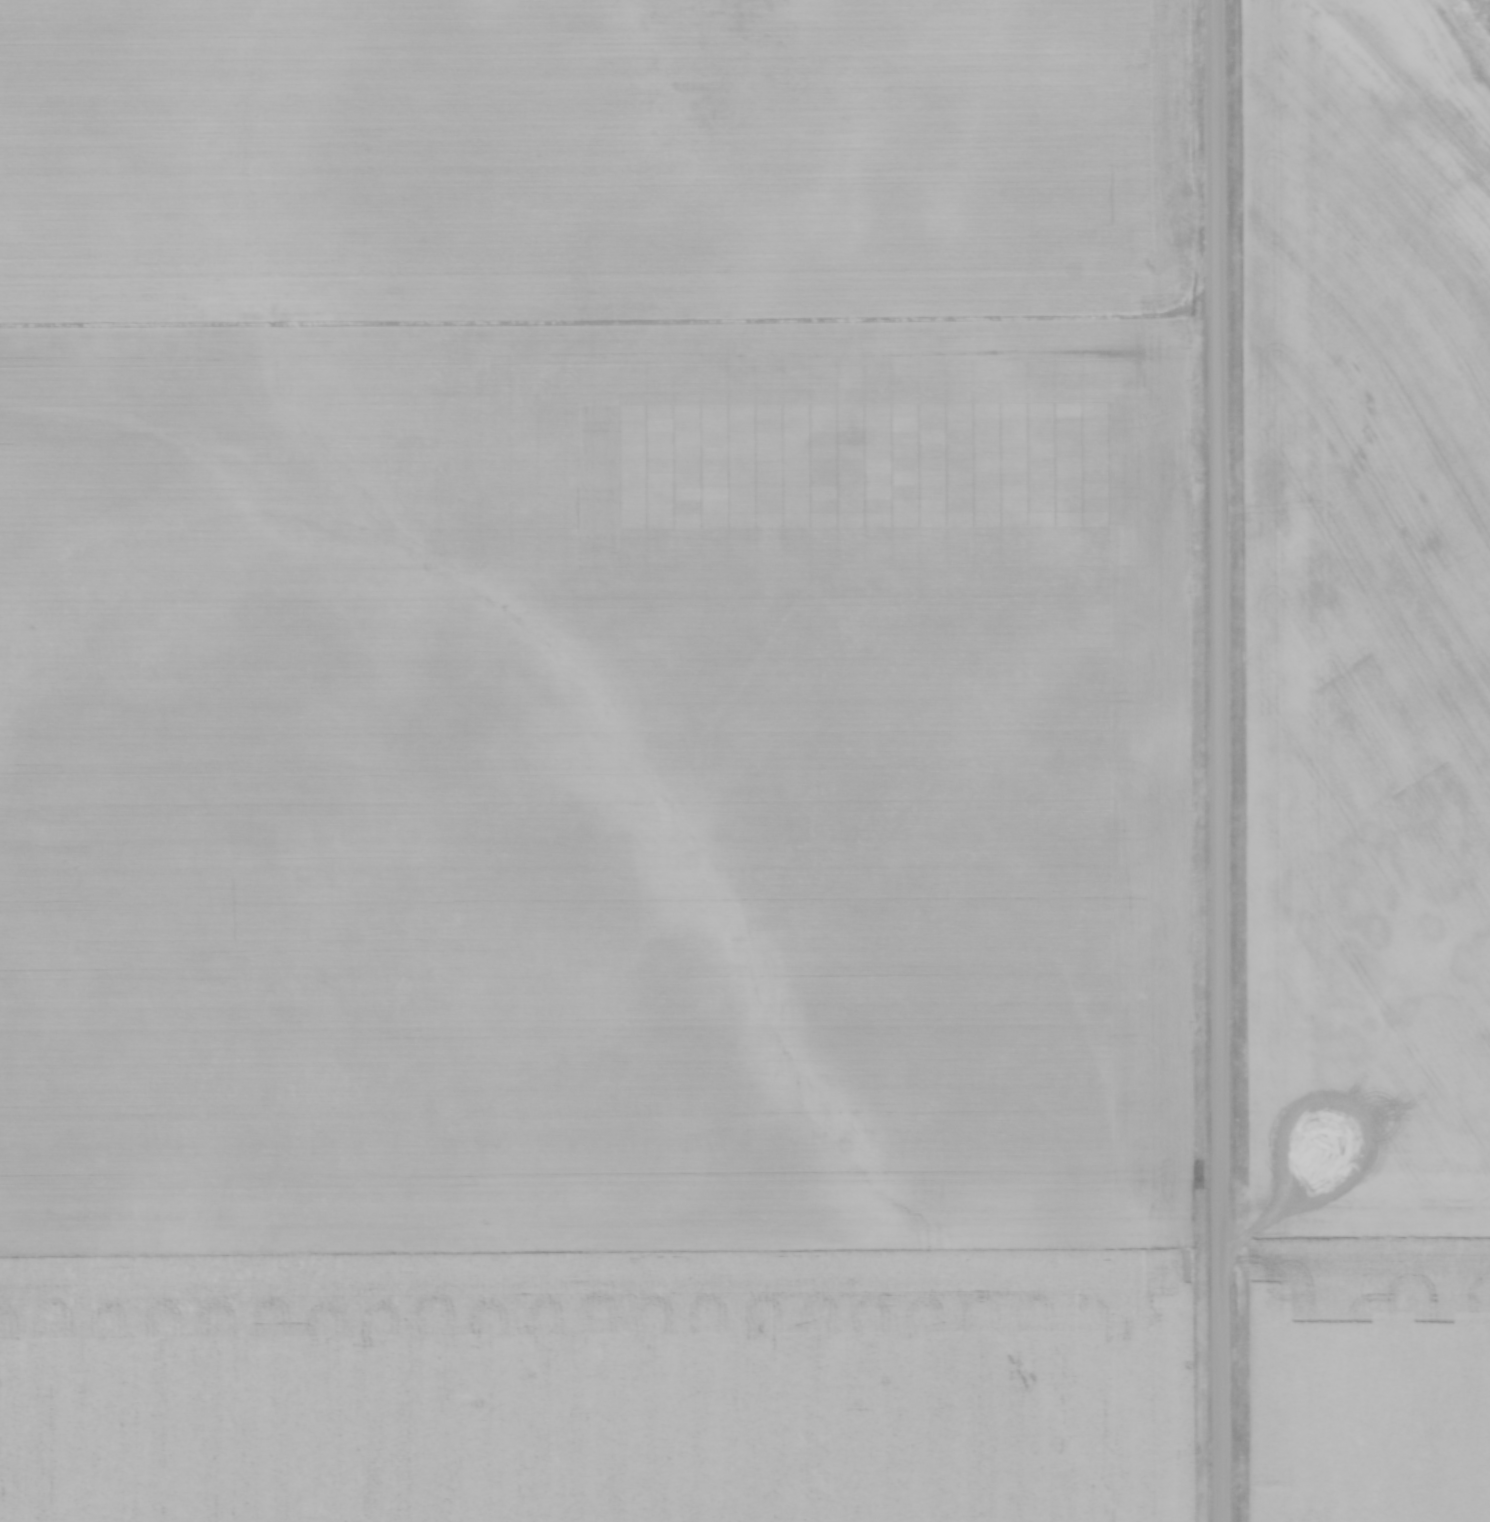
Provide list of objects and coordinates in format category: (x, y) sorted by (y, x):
road: (1218, 761)

